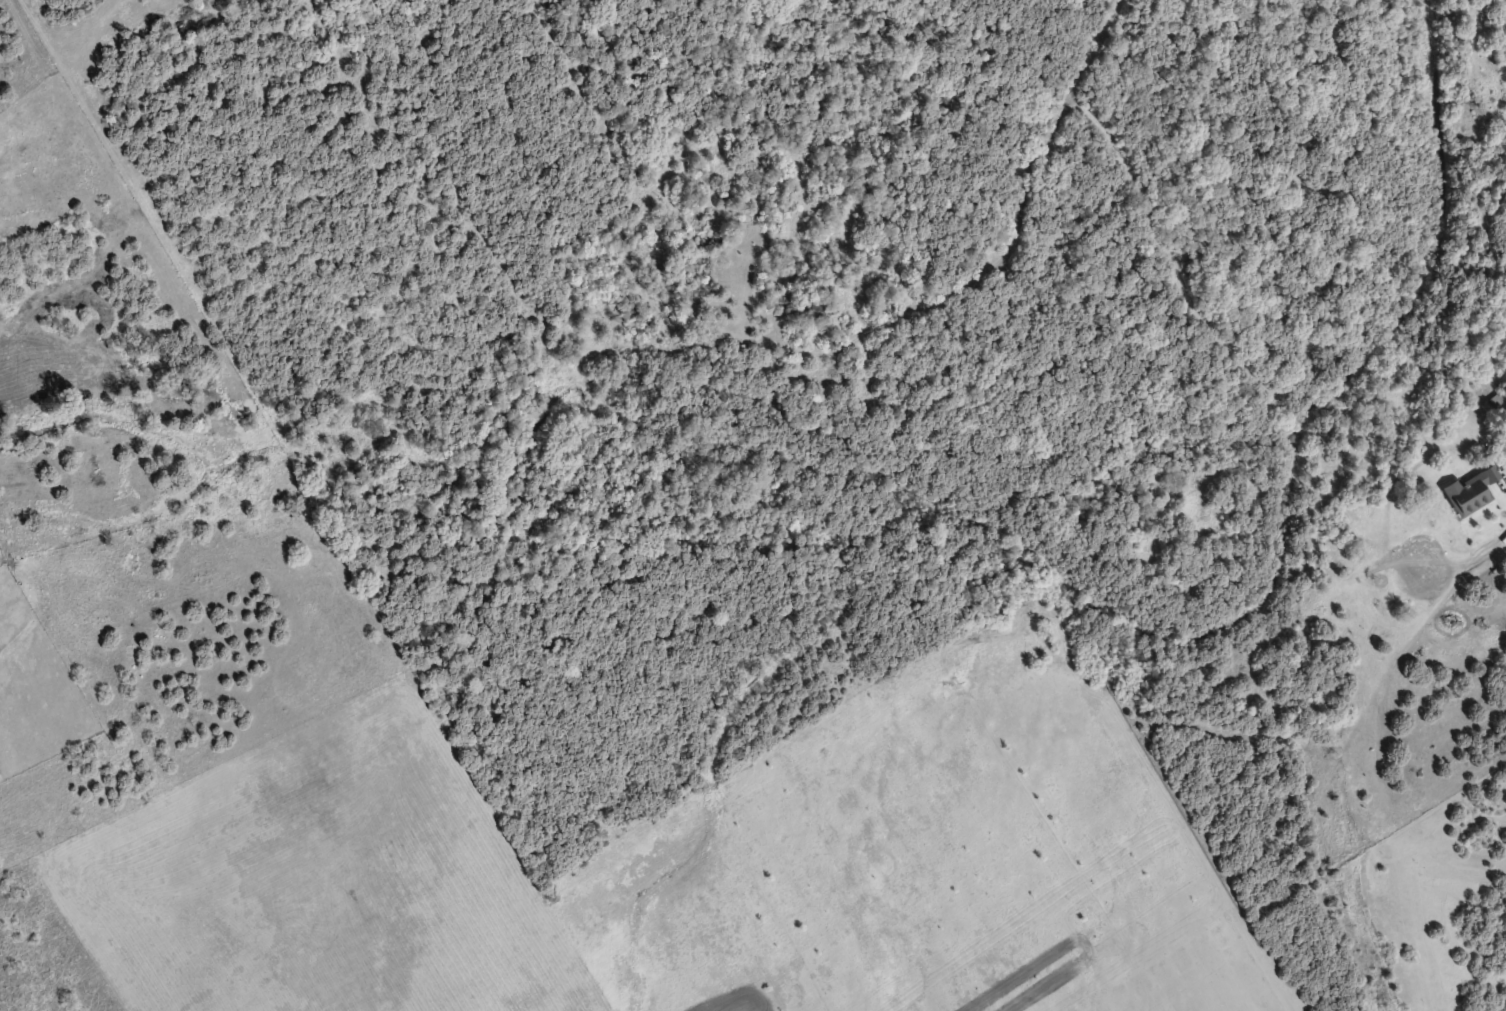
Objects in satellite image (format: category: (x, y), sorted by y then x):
building: (1470, 491)

